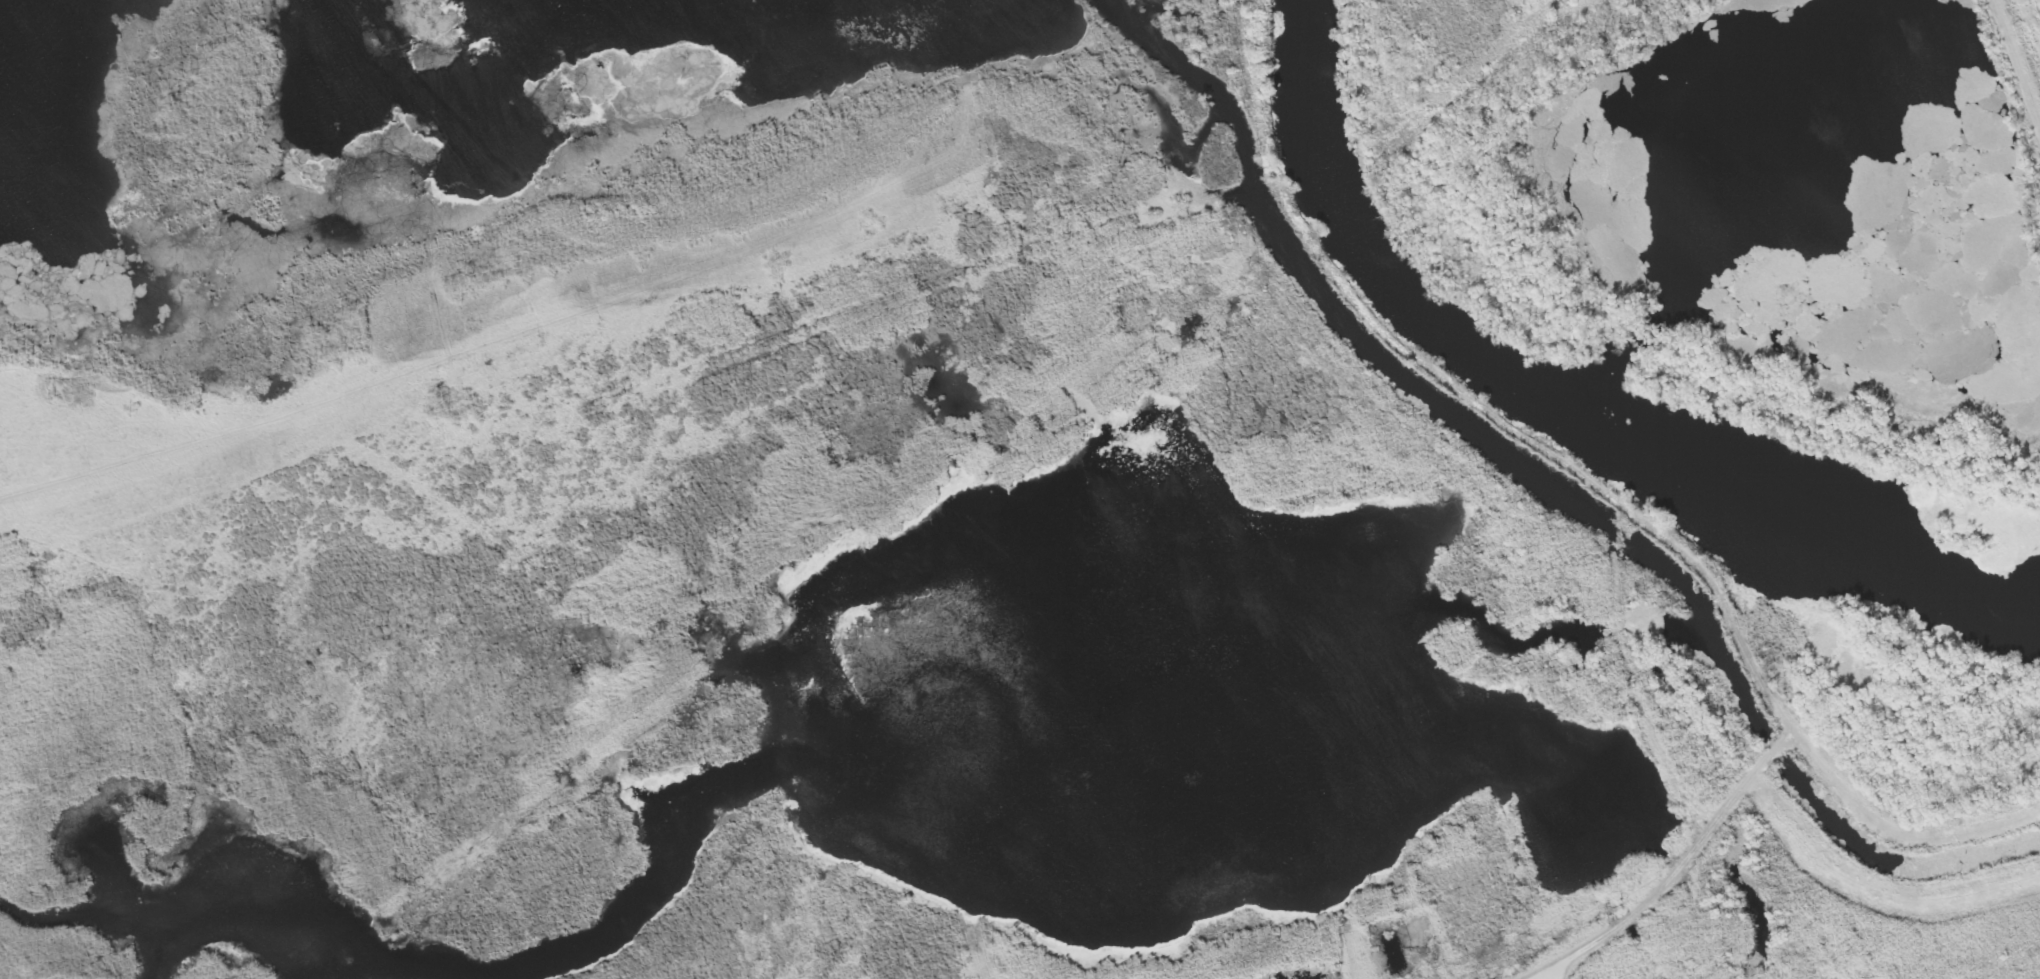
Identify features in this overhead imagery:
road: (1676, 868)

